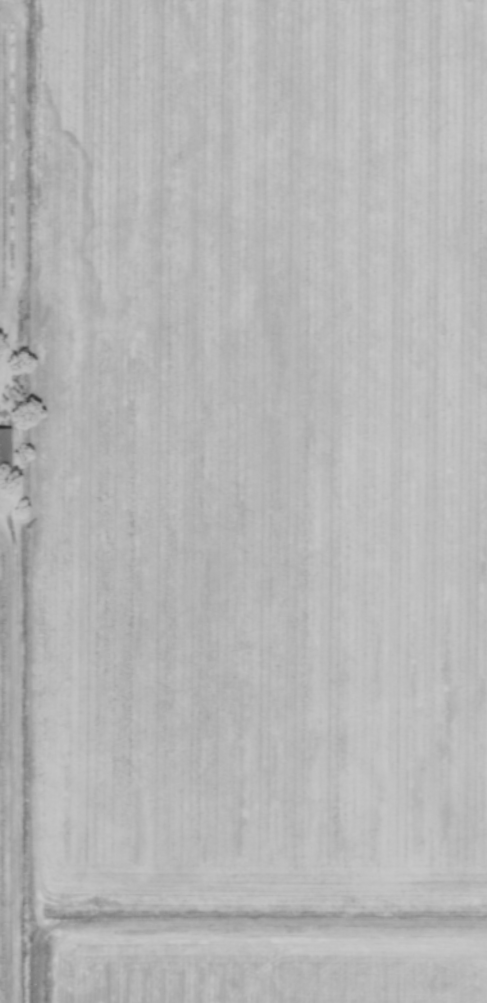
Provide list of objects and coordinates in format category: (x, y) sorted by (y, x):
road: (23, 158)
building: (5, 453)
road: (18, 764)

